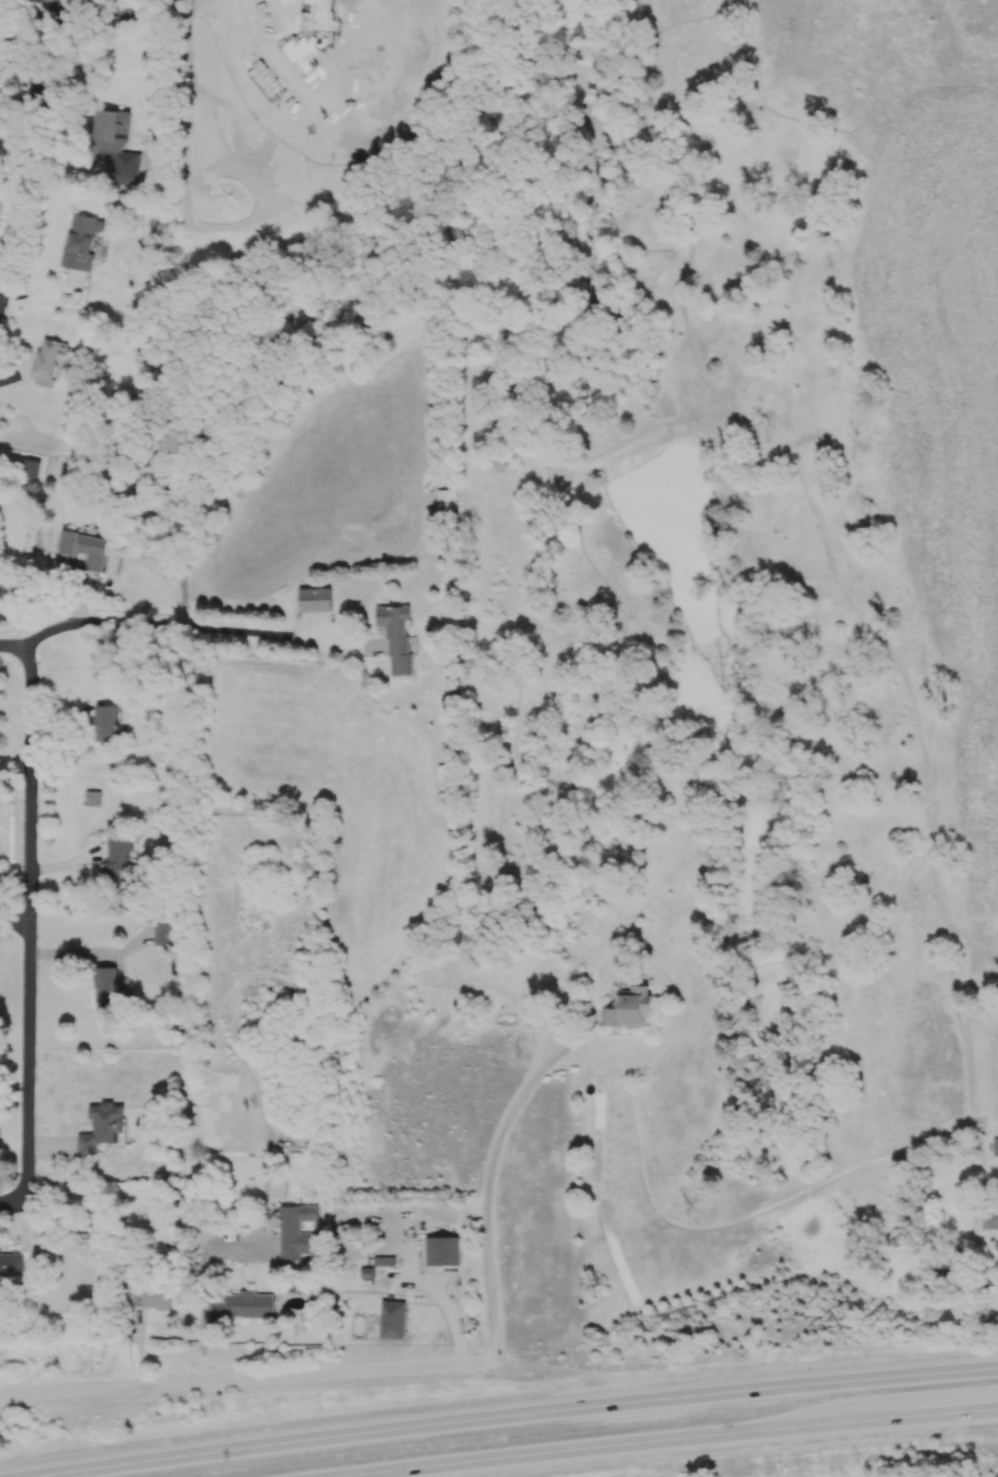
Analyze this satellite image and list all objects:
building: (45, 2)
road: (47, 33)
building: (297, 34)
building: (212, 110)
building: (110, 133)
building: (261, 148)
road: (33, 161)
building: (81, 240)
road: (1, 275)
building: (46, 361)
dam: (629, 447)
building: (30, 467)
building: (446, 501)
building: (80, 550)
building: (314, 598)
road: (169, 627)
building: (396, 636)
road: (12, 651)
building: (105, 722)
road: (30, 789)
building: (92, 797)
building: (117, 859)
road: (14, 927)
building: (163, 933)
road: (28, 943)
road: (85, 956)
building: (105, 984)
building: (629, 1008)
road: (28, 1091)
building: (101, 1127)
building: (995, 1146)
road: (491, 1189)
building: (990, 1217)
building: (296, 1230)
building: (442, 1250)
building: (12, 1263)
building: (366, 1272)
building: (156, 1297)
building: (242, 1306)
road: (449, 1309)
building: (392, 1319)
road: (257, 1381)
road: (511, 1417)
road: (692, 1441)

